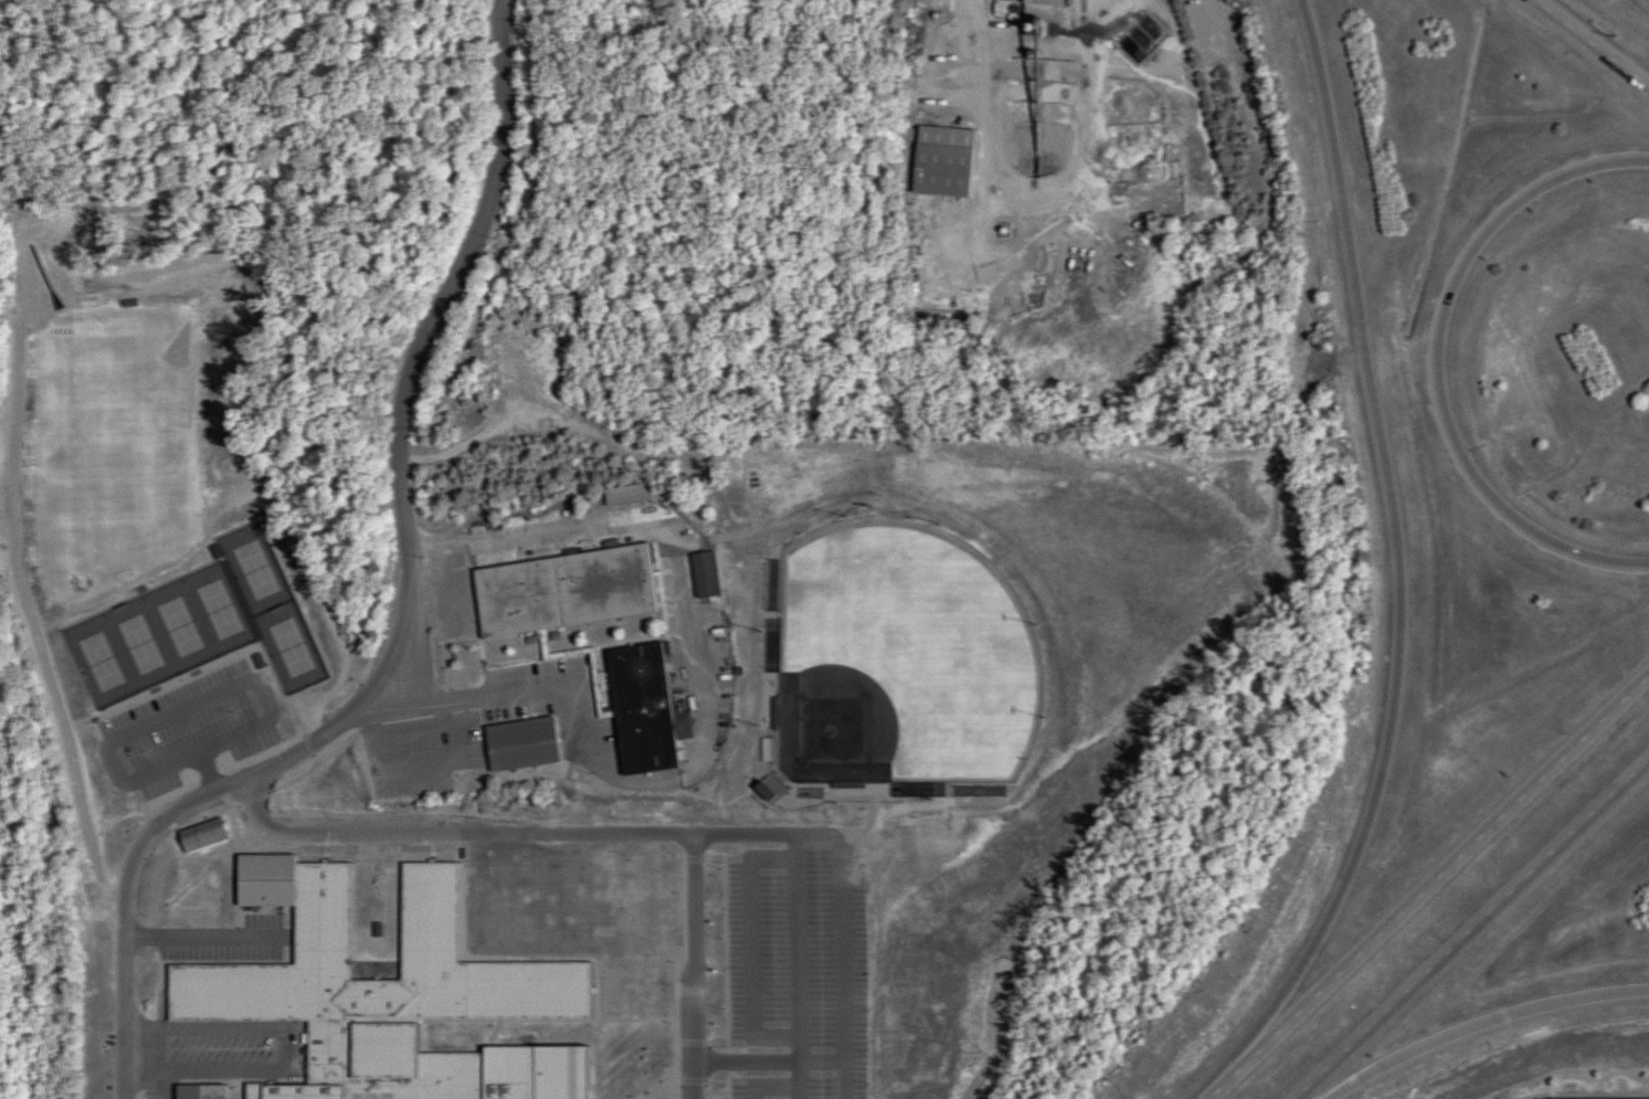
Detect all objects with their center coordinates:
building: (1039, 2)
road: (1589, 45)
building: (940, 163)
road: (1436, 368)
building: (625, 495)
road: (532, 532)
road: (403, 538)
road: (1396, 561)
building: (702, 574)
building: (562, 592)
park: (900, 658)
building: (643, 709)
building: (519, 743)
road: (81, 797)
road: (451, 834)
building: (204, 837)
road: (1433, 878)
road: (1472, 927)
road: (685, 966)
building: (376, 993)
road: (1478, 1026)
road: (1212, 1093)

